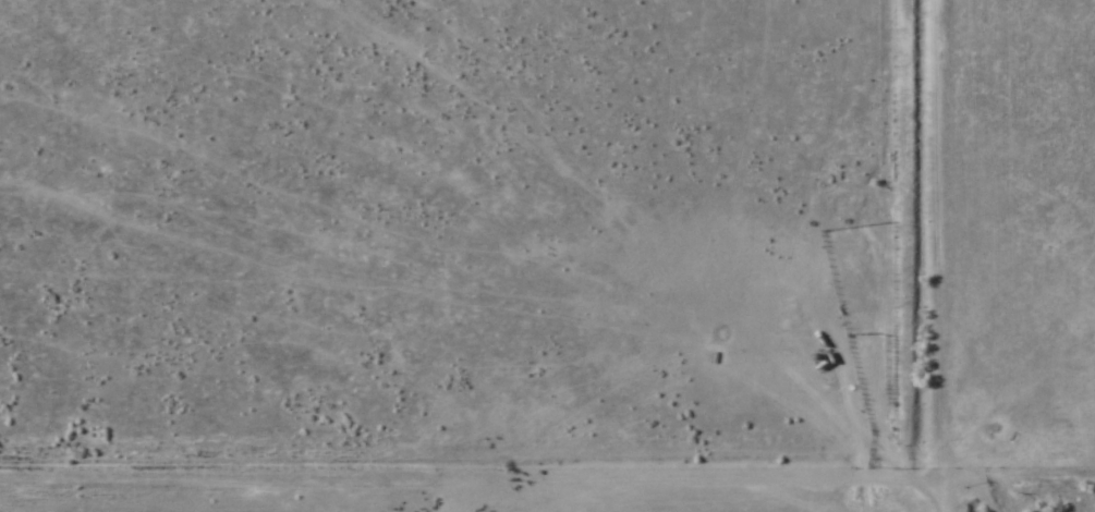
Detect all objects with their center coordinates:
road: (903, 256)

